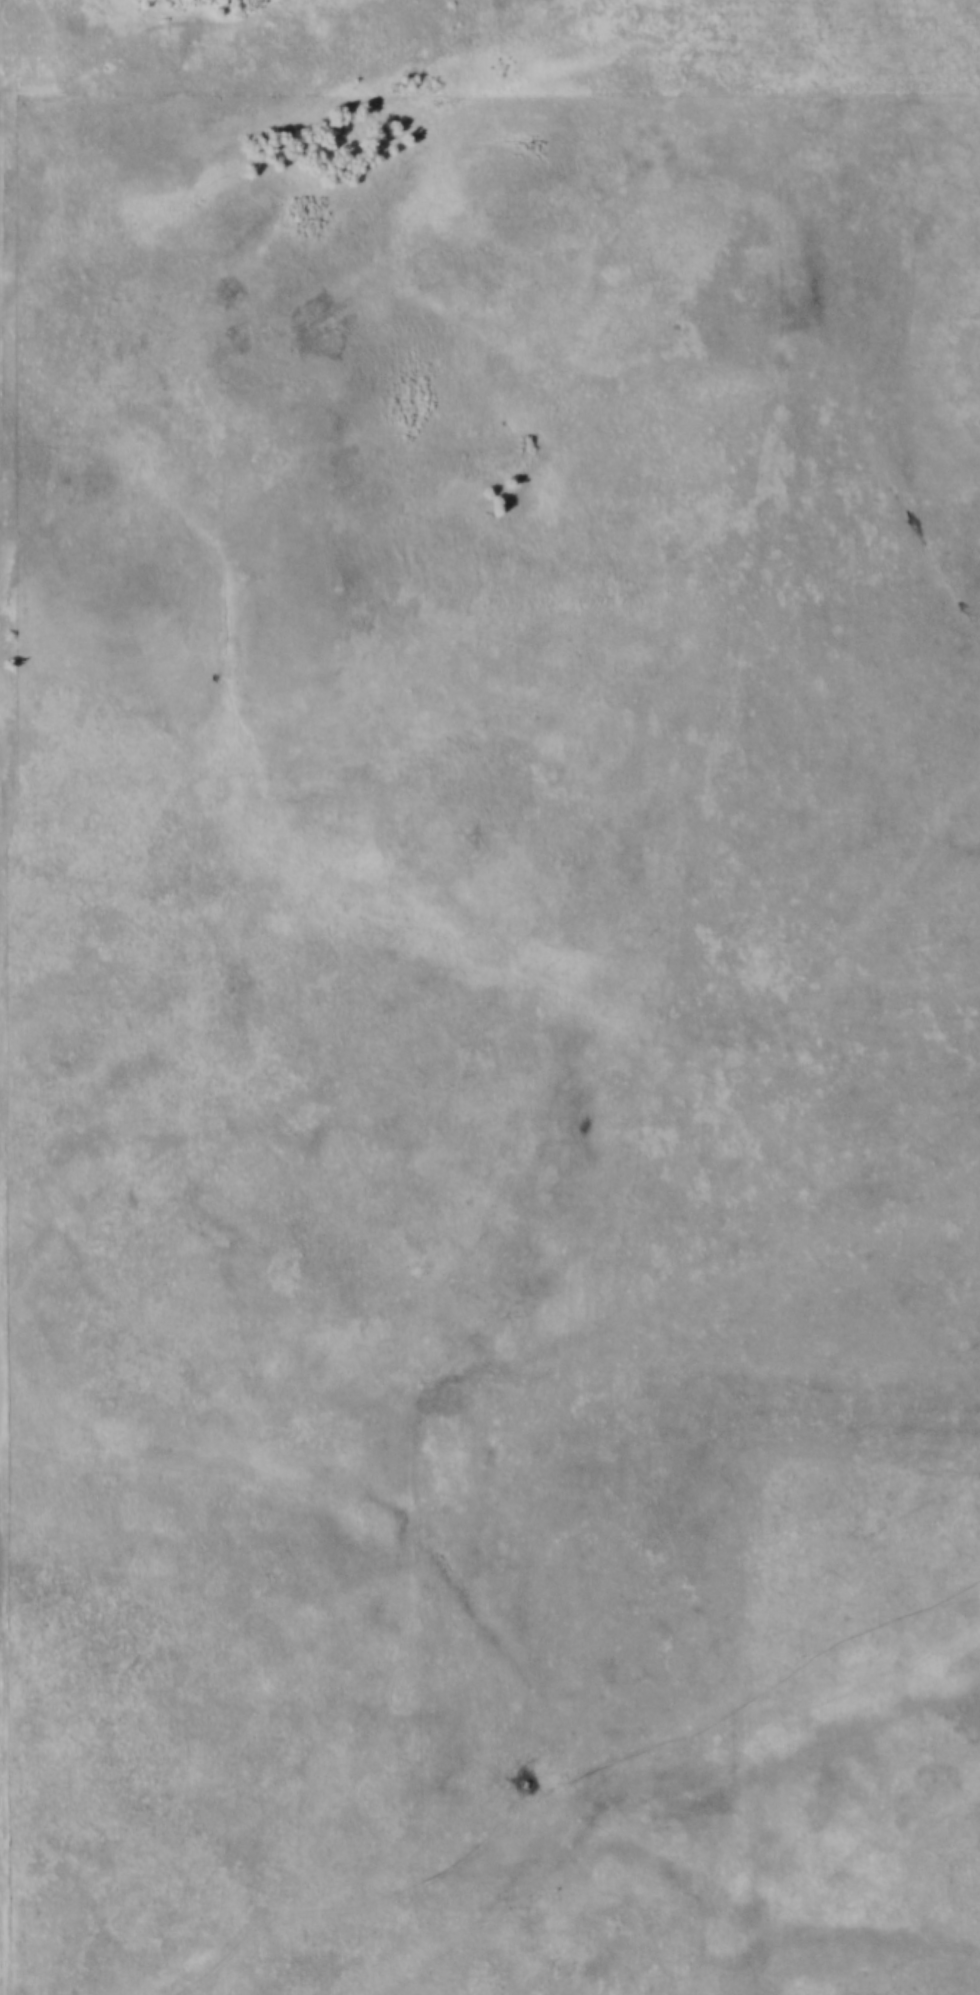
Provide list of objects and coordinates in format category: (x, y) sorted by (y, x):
road: (3, 707)
road: (1, 925)

